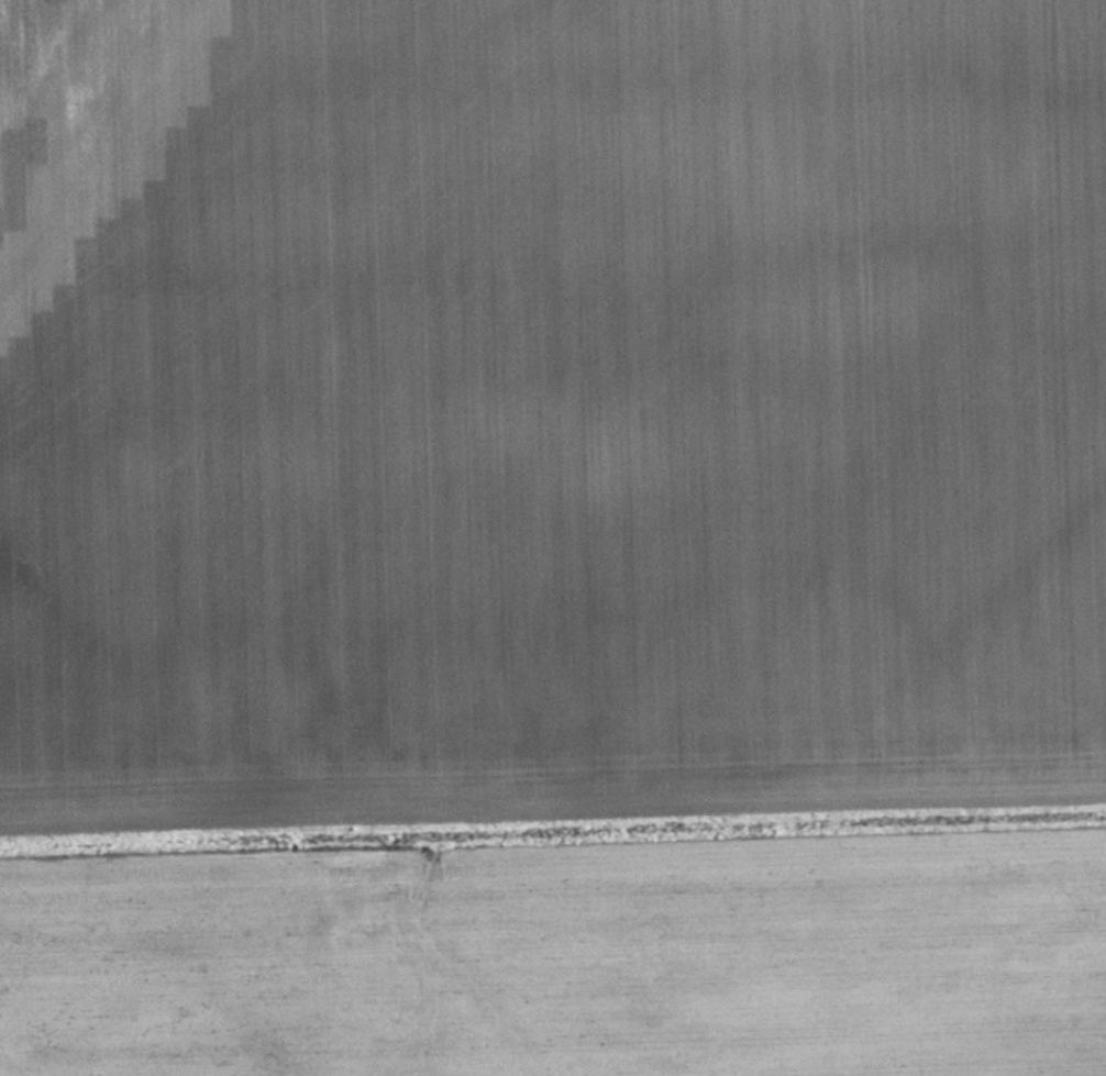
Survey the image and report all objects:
road: (314, 998)

